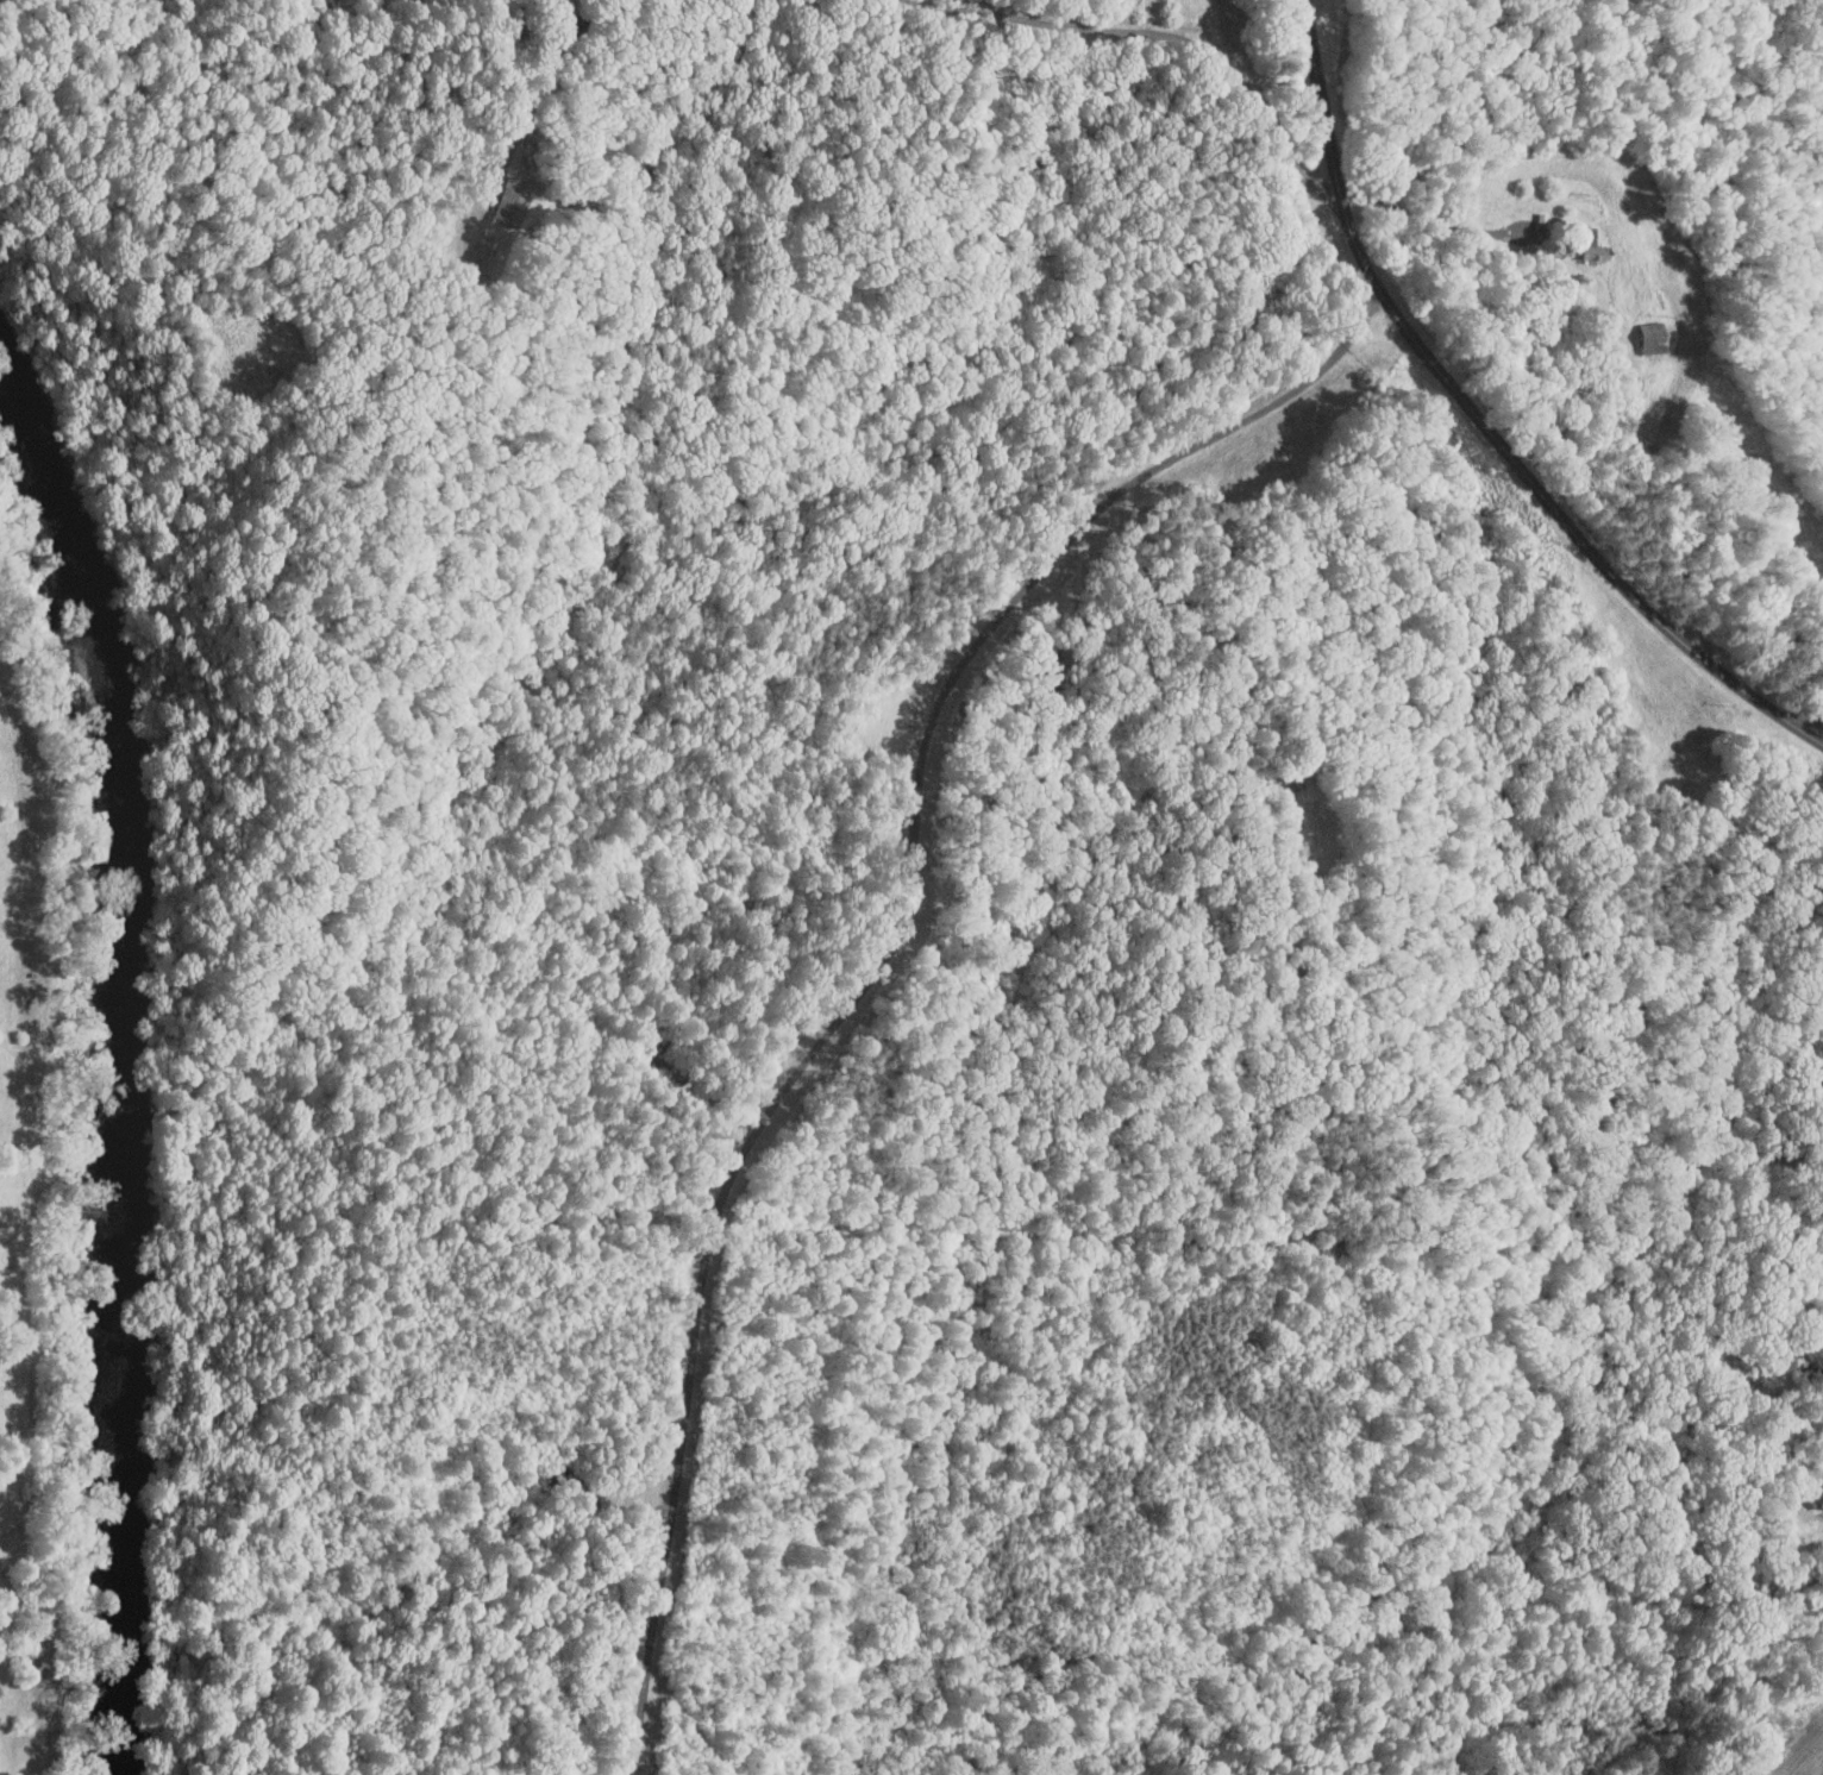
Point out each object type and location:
road: (1171, 35)
building: (1654, 343)
road: (1481, 424)
river: (117, 1064)

